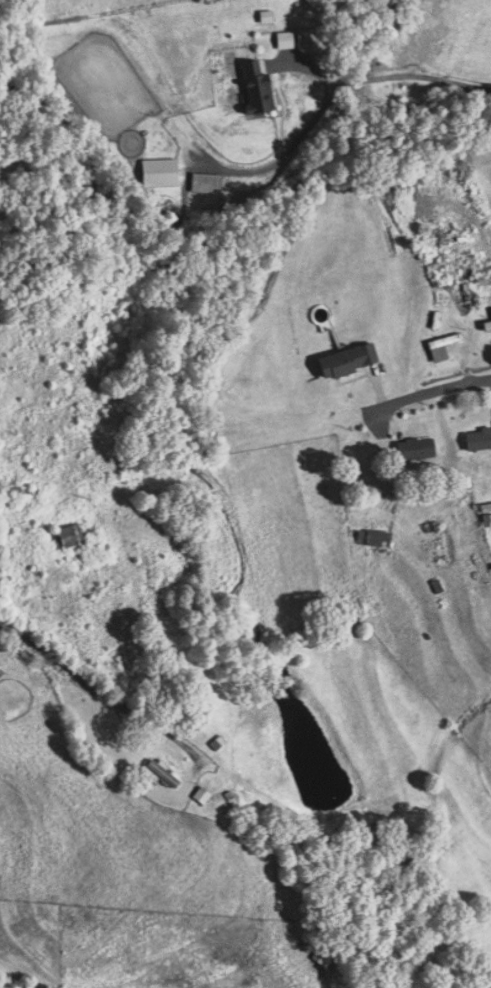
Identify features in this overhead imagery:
building: (260, 89)
road: (335, 93)
building: (162, 172)
building: (208, 184)
building: (487, 325)
building: (443, 342)
building: (346, 361)
road: (464, 383)
road: (405, 397)
building: (477, 441)
building: (414, 450)
building: (20, 491)
building: (70, 537)
building: (373, 539)
road: (83, 674)

